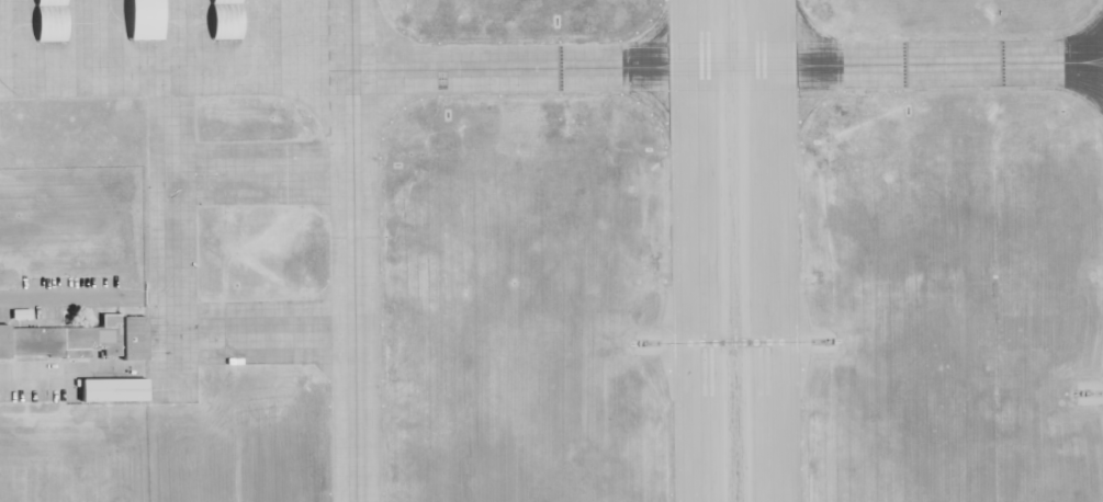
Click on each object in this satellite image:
airport apron: (189, 47)
airport taxiway: (350, 49)
airport taxiway: (738, 66)
airport: (655, 231)
airport runway: (733, 250)
airport taxiway: (353, 300)
building: (78, 342)
building: (112, 393)

